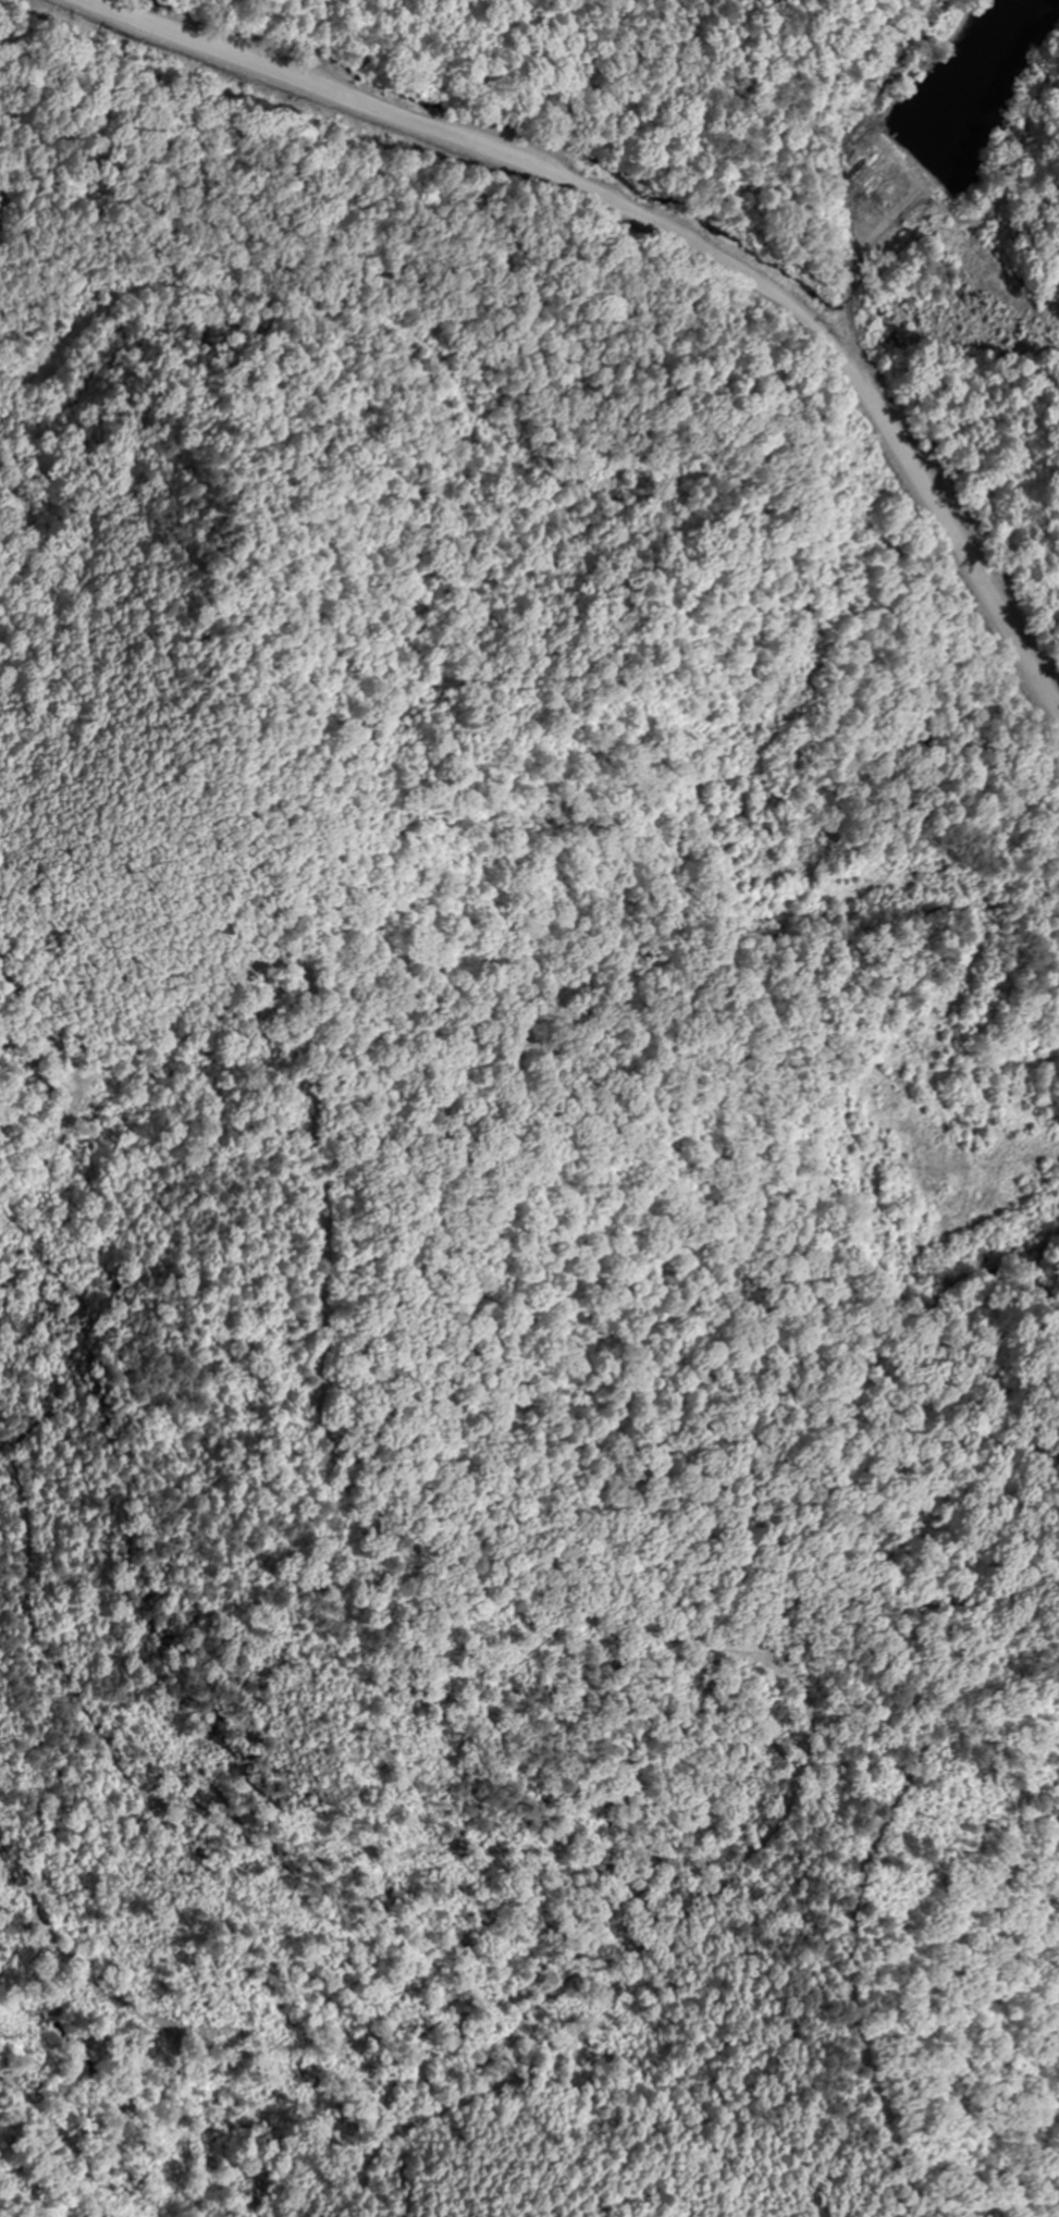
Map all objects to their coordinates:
road: (669, 233)

